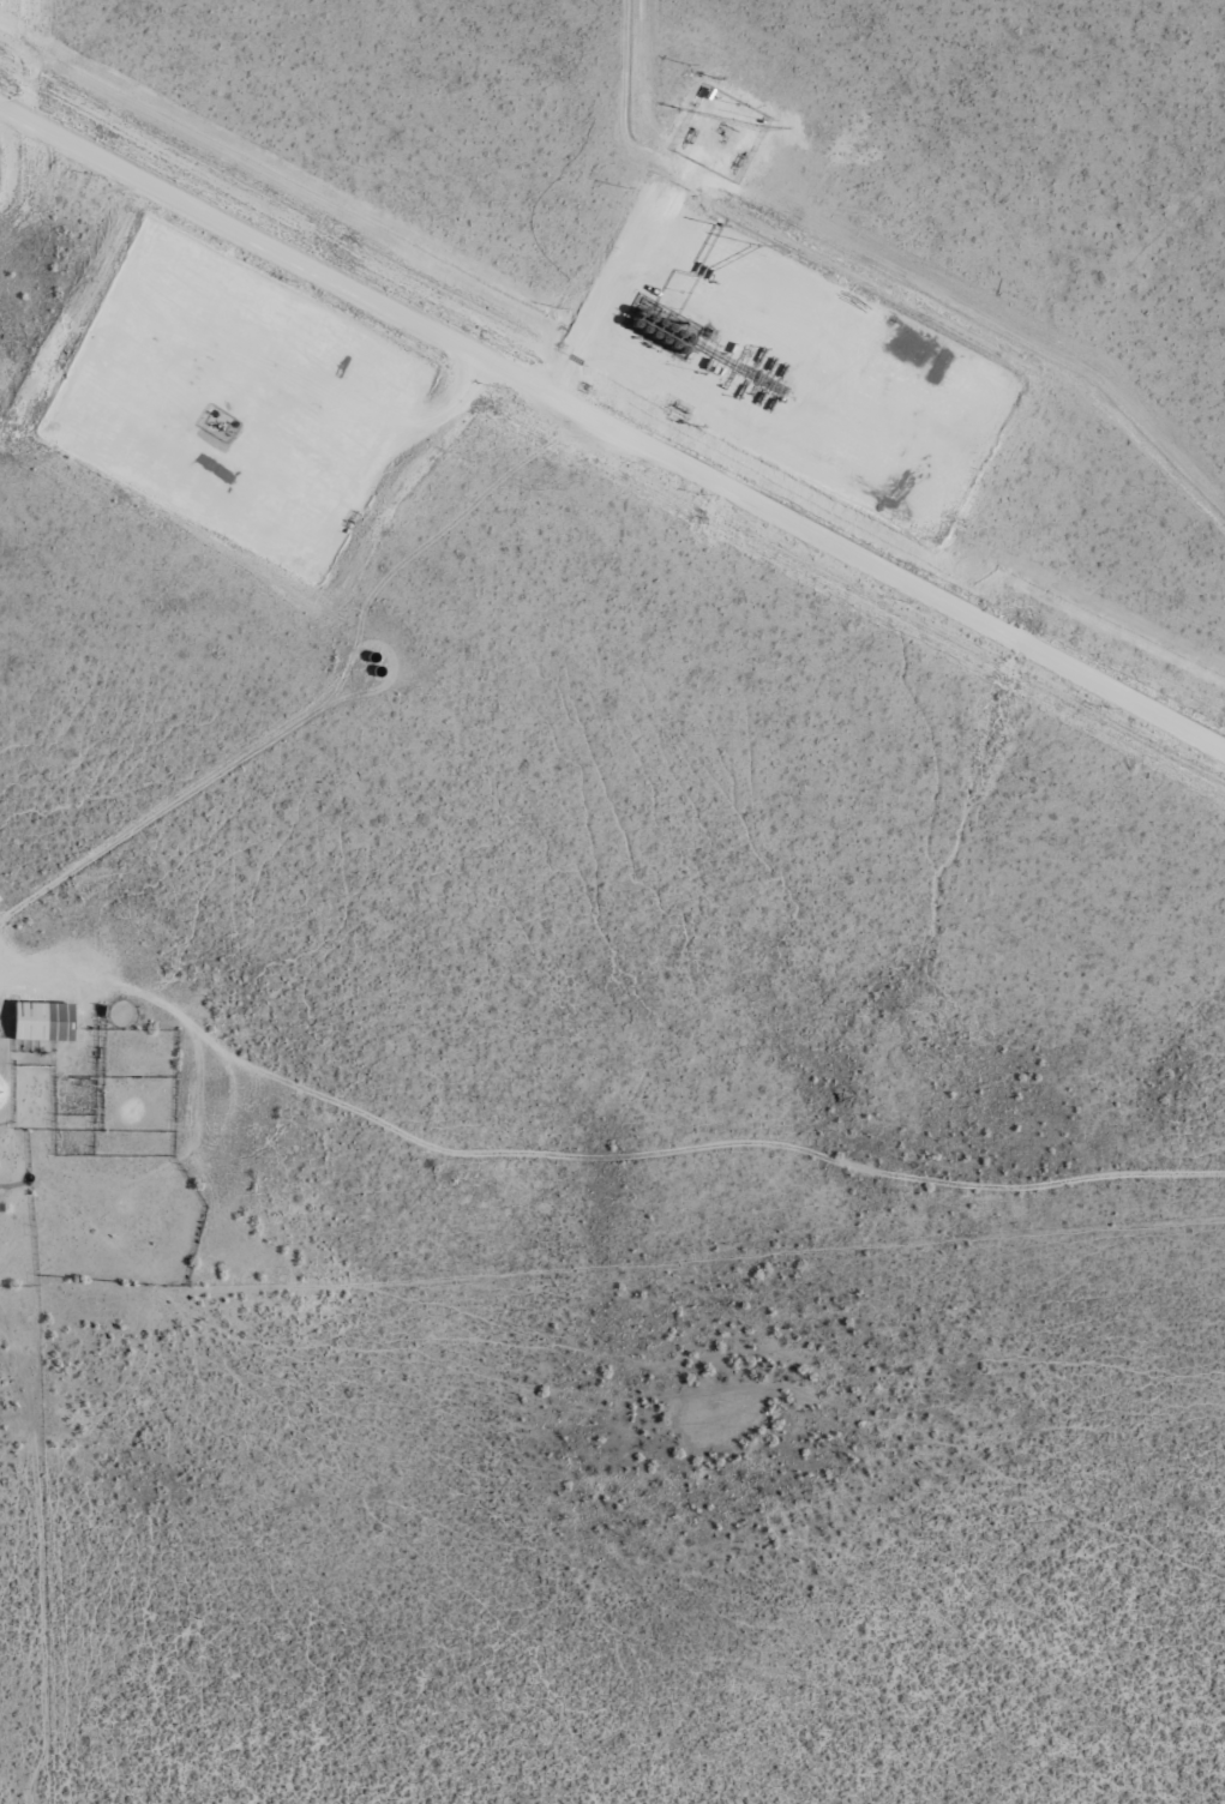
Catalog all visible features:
road: (265, 46)
road: (596, 150)
road: (1111, 242)
road: (717, 253)
road: (612, 434)
road: (383, 437)
road: (49, 980)

